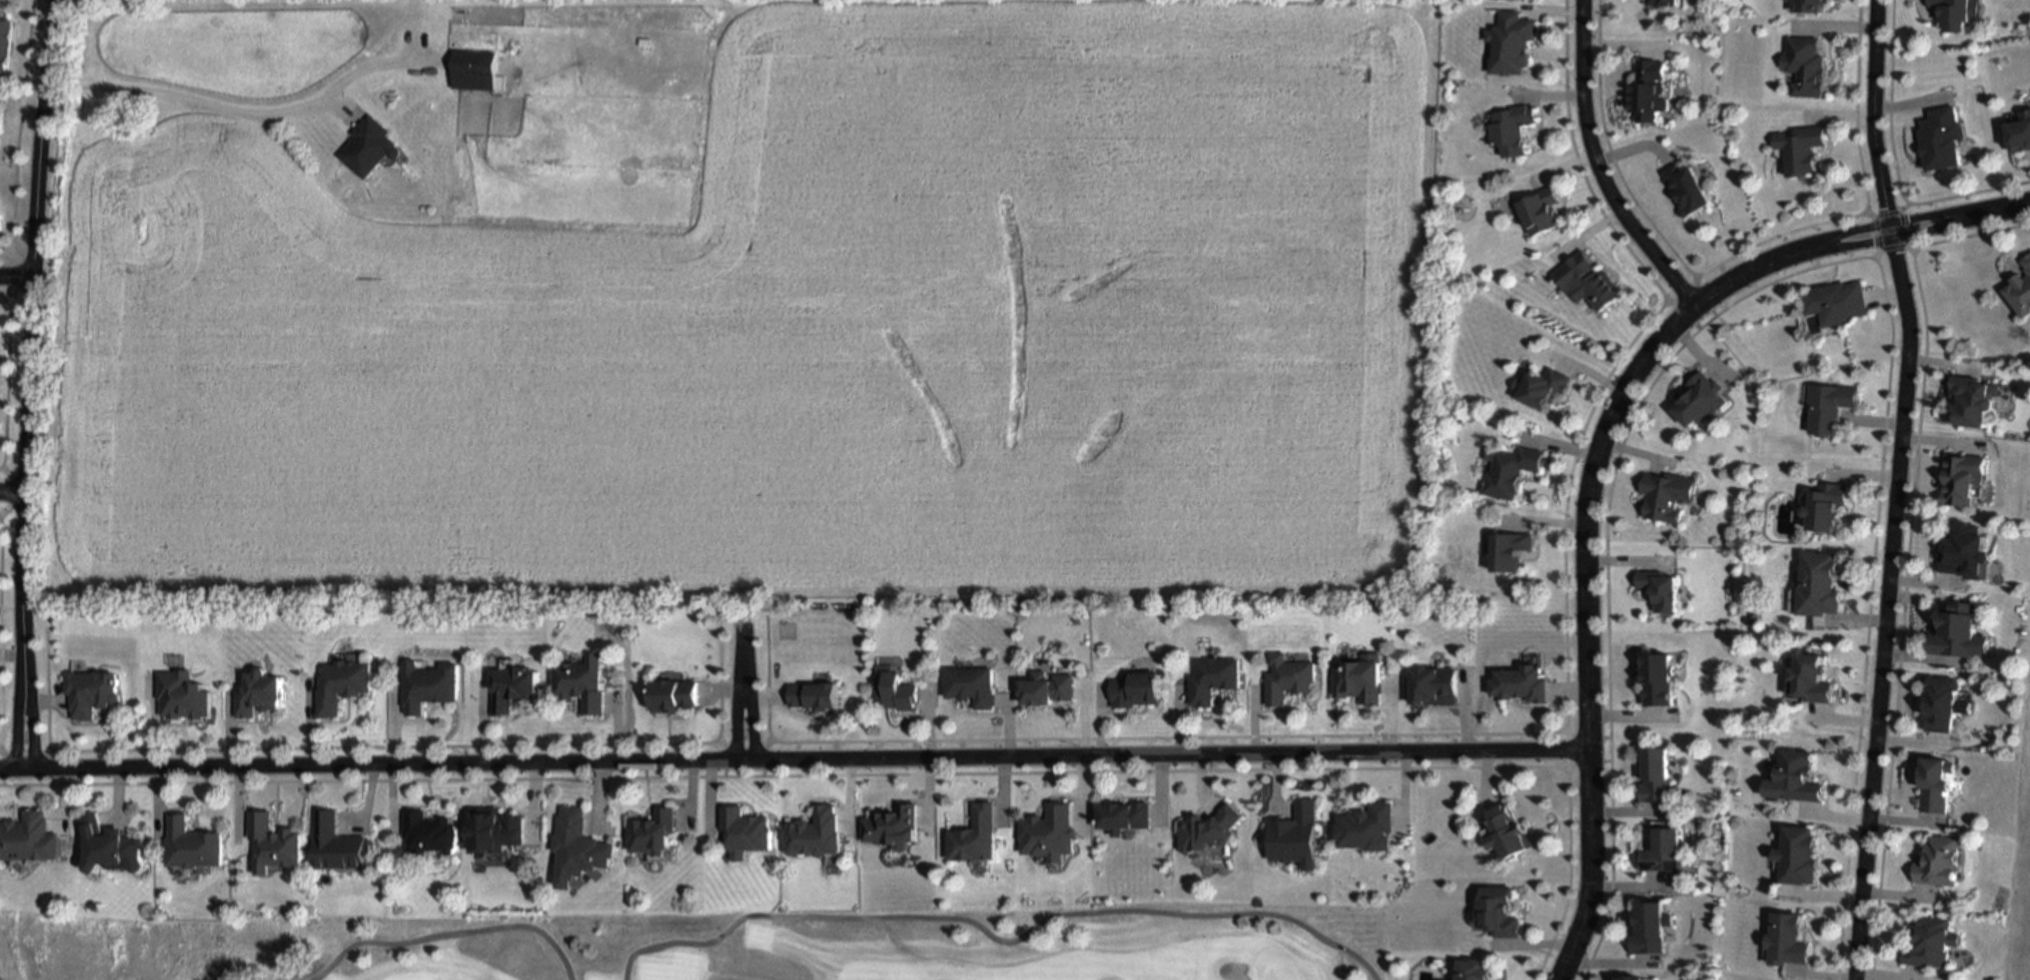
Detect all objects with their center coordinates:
building: (1504, 0)
building: (1657, 3)
building: (1806, 4)
building: (1951, 10)
building: (1509, 39)
building: (4, 40)
building: (1803, 63)
building: (472, 65)
building: (1647, 89)
building: (1, 99)
road: (199, 102)
building: (124, 109)
building: (1511, 129)
building: (2018, 131)
building: (1939, 134)
building: (367, 145)
building: (1799, 148)
road: (1592, 166)
building: (1686, 188)
road: (1995, 208)
building: (1539, 211)
building: (0, 220)
road: (1885, 224)
road: (1970, 236)
road: (1888, 237)
road: (18, 277)
building: (1587, 278)
building: (2020, 285)
building: (1836, 300)
road: (32, 333)
building: (1542, 385)
building: (1700, 395)
building: (1971, 396)
building: (1828, 405)
building: (1509, 469)
building: (1961, 476)
road: (1893, 488)
building: (1666, 493)
road: (12, 496)
building: (1824, 502)
building: (1508, 548)
building: (1962, 548)
road: (1580, 560)
building: (1815, 582)
building: (1657, 588)
road: (1899, 616)
building: (1955, 629)
road: (738, 639)
building: (1653, 675)
building: (1810, 675)
building: (1284, 676)
building: (1208, 677)
building: (1354, 679)
building: (581, 681)
building: (1517, 681)
building: (345, 682)
building: (429, 683)
building: (967, 683)
building: (1430, 684)
building: (515, 685)
building: (1042, 686)
building: (891, 688)
building: (1131, 690)
building: (90, 691)
building: (261, 692)
building: (808, 692)
building: (184, 693)
building: (674, 693)
building: (1940, 701)
road: (731, 710)
road: (746, 710)
road: (12, 718)
road: (27, 718)
road: (791, 763)
building: (1652, 773)
building: (1794, 775)
building: (1933, 781)
building: (1120, 813)
building: (1364, 825)
building: (1206, 827)
building: (745, 829)
building: (654, 830)
building: (1503, 830)
building: (493, 831)
building: (815, 831)
building: (1047, 832)
building: (971, 833)
building: (1293, 833)
building: (427, 834)
building: (30, 836)
building: (111, 842)
building: (272, 843)
building: (189, 845)
building: (336, 845)
building: (579, 845)
building: (1660, 850)
park: (2019, 852)
building: (1796, 853)
building: (1936, 859)
building: (1495, 910)
building: (1647, 925)
road: (447, 935)
building: (1785, 938)
road: (994, 940)
building: (1929, 942)
park: (710, 946)
building: (1471, 969)
park: (1276, 975)
building: (1627, 976)

